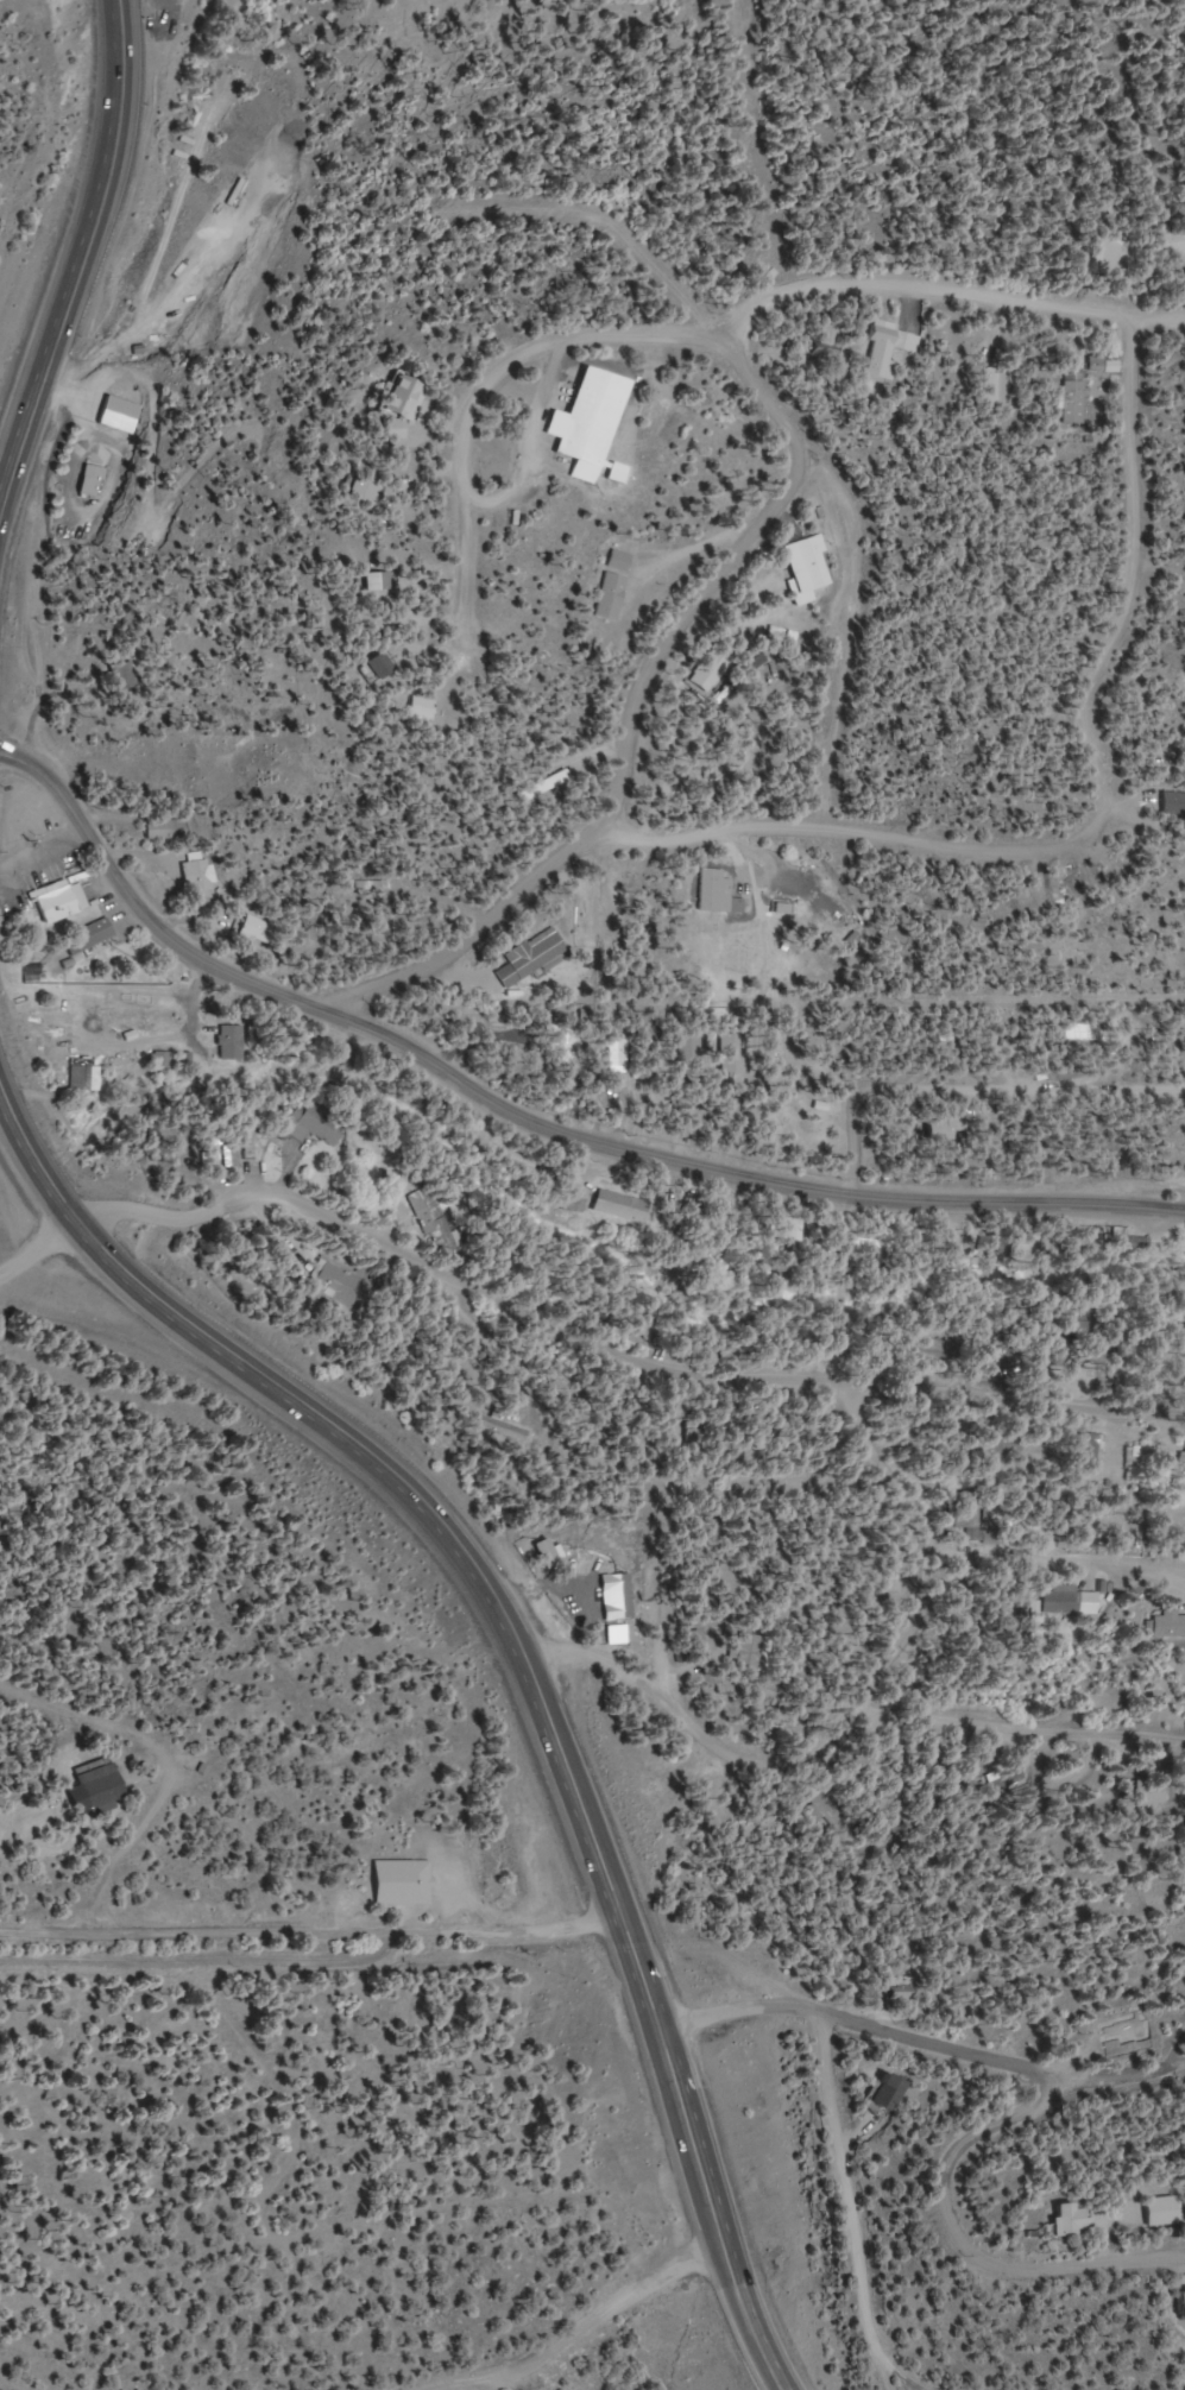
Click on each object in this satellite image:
building: (1172, 241)
road: (80, 251)
building: (1111, 253)
road: (449, 257)
road: (1134, 334)
building: (825, 348)
building: (888, 351)
building: (997, 387)
building: (1071, 402)
building: (403, 406)
building: (590, 422)
road: (487, 496)
road: (1103, 537)
building: (620, 562)
building: (807, 569)
building: (376, 582)
building: (611, 598)
road: (839, 618)
building: (380, 667)
building: (122, 676)
road: (644, 687)
building: (424, 710)
building: (1183, 762)
building: (1179, 800)
building: (164, 830)
building: (198, 874)
road: (705, 887)
building: (714, 890)
building: (827, 898)
building: (61, 902)
building: (258, 932)
road: (445, 935)
building: (89, 937)
building: (530, 959)
building: (94, 1028)
building: (232, 1043)
building: (565, 1051)
building: (617, 1055)
building: (87, 1057)
building: (160, 1062)
building: (84, 1079)
road: (969, 1096)
road: (530, 1121)
building: (314, 1124)
building: (248, 1136)
building: (575, 1203)
building: (622, 1205)
building: (433, 1219)
building: (1141, 1243)
road: (39, 1244)
building: (1002, 1246)
building: (875, 1248)
road: (481, 1273)
building: (336, 1286)
building: (1066, 1338)
building: (939, 1351)
building: (1010, 1357)
road: (1029, 1398)
building: (503, 1429)
road: (374, 1458)
building: (1181, 1458)
road: (885, 1461)
building: (978, 1522)
road: (721, 1549)
building: (1070, 1602)
building: (1167, 1625)
building: (754, 1652)
road: (595, 1661)
road: (1039, 1679)
road: (852, 1733)
road: (1021, 1759)
building: (100, 1786)
building: (1149, 1792)
road: (77, 1824)
building: (402, 1883)
road: (309, 1951)
road: (852, 2022)
road: (1108, 2030)
building: (885, 2093)
road: (689, 2157)
road: (842, 2203)
building: (1164, 2211)
building: (1069, 2220)
road: (965, 2244)
building: (1183, 2304)
road: (647, 2319)
road: (901, 2384)

